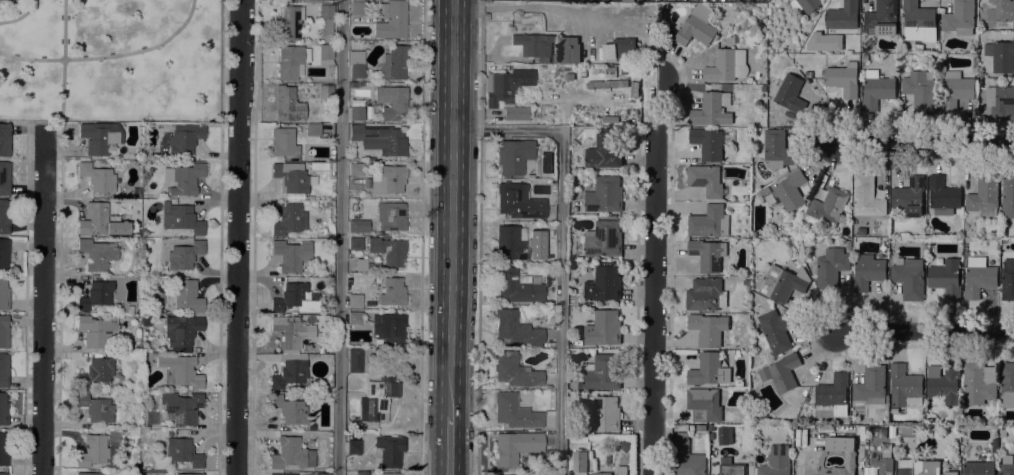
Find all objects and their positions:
building: (300, 0)
building: (326, 0)
building: (805, 6)
building: (357, 8)
building: (1001, 11)
road: (19, 16)
building: (843, 16)
building: (882, 18)
building: (959, 18)
building: (326, 19)
building: (391, 21)
building: (919, 22)
building: (290, 23)
building: (696, 27)
building: (534, 46)
building: (620, 49)
building: (570, 50)
building: (326, 52)
road: (108, 55)
building: (1001, 55)
building: (555, 58)
park: (110, 59)
building: (289, 62)
building: (356, 64)
building: (393, 64)
building: (727, 66)
road: (63, 69)
building: (623, 71)
building: (808, 74)
building: (843, 79)
building: (606, 85)
building: (506, 86)
building: (634, 89)
building: (876, 90)
building: (920, 90)
building: (955, 90)
building: (325, 92)
building: (790, 94)
building: (1001, 102)
building: (391, 103)
building: (287, 105)
building: (712, 109)
building: (517, 113)
building: (770, 113)
building: (356, 114)
building: (772, 123)
building: (313, 130)
building: (100, 137)
building: (184, 138)
building: (379, 139)
building: (4, 140)
road: (924, 141)
building: (284, 143)
building: (707, 144)
road: (809, 144)
building: (777, 149)
building: (605, 150)
building: (513, 156)
building: (367, 164)
building: (356, 170)
building: (96, 177)
building: (3, 178)
building: (183, 178)
building: (290, 178)
building: (388, 180)
building: (705, 180)
building: (790, 190)
building: (764, 192)
building: (136, 193)
building: (605, 195)
building: (909, 196)
building: (943, 196)
building: (867, 197)
building: (984, 197)
building: (1007, 197)
building: (730, 199)
building: (518, 202)
building: (328, 204)
road: (451, 207)
building: (827, 208)
building: (574, 209)
building: (390, 216)
building: (3, 219)
building: (180, 219)
building: (842, 219)
building: (287, 220)
building: (101, 221)
building: (709, 222)
building: (355, 227)
road: (238, 237)
road: (340, 237)
road: (423, 237)
road: (480, 237)
building: (603, 239)
building: (355, 244)
building: (515, 245)
road: (561, 248)
building: (387, 251)
building: (96, 254)
building: (4, 255)
building: (184, 255)
building: (291, 255)
building: (707, 255)
road: (669, 259)
building: (360, 265)
building: (831, 267)
road: (654, 272)
building: (868, 272)
building: (978, 277)
building: (945, 278)
building: (909, 279)
building: (1007, 280)
building: (782, 283)
building: (604, 284)
building: (517, 286)
building: (392, 293)
building: (3, 295)
building: (706, 295)
building: (95, 296)
building: (184, 296)
building: (293, 299)
building: (354, 301)
road: (637, 301)
road: (44, 303)
building: (131, 310)
building: (529, 314)
building: (548, 314)
building: (354, 318)
building: (389, 328)
building: (603, 328)
building: (515, 329)
building: (708, 329)
road: (807, 329)
building: (97, 330)
building: (181, 330)
building: (776, 330)
building: (3, 332)
road: (924, 332)
building: (290, 333)
building: (306, 348)
building: (321, 351)
building: (354, 361)
building: (709, 370)
building: (3, 371)
building: (180, 371)
building: (289, 371)
building: (514, 371)
building: (784, 372)
building: (95, 373)
building: (602, 373)
building: (943, 383)
building: (978, 383)
building: (1007, 384)
building: (871, 385)
building: (903, 385)
building: (833, 394)
building: (377, 398)
building: (704, 405)
building: (181, 407)
building: (95, 408)
building: (3, 410)
building: (289, 410)
building: (514, 413)
building: (759, 413)
building: (600, 414)
building: (701, 428)
building: (711, 428)
building: (1002, 433)
building: (725, 436)
building: (837, 440)
building: (820, 443)
road: (449, 445)
building: (624, 445)
building: (515, 447)
building: (3, 448)
building: (353, 448)
building: (92, 451)
building: (389, 451)
building: (182, 452)
building: (291, 454)
building: (686, 457)
building: (580, 461)
building: (775, 462)
building: (882, 464)
building: (1006, 465)
building: (918, 467)
building: (730, 468)
building: (978, 468)
building: (614, 471)
building: (842, 471)
building: (361, 473)
building: (601, 473)
building: (950, 473)
building: (3, 474)
building: (89, 474)
building: (188, 474)
building: (282, 474)
building: (322, 474)
building: (388, 474)

